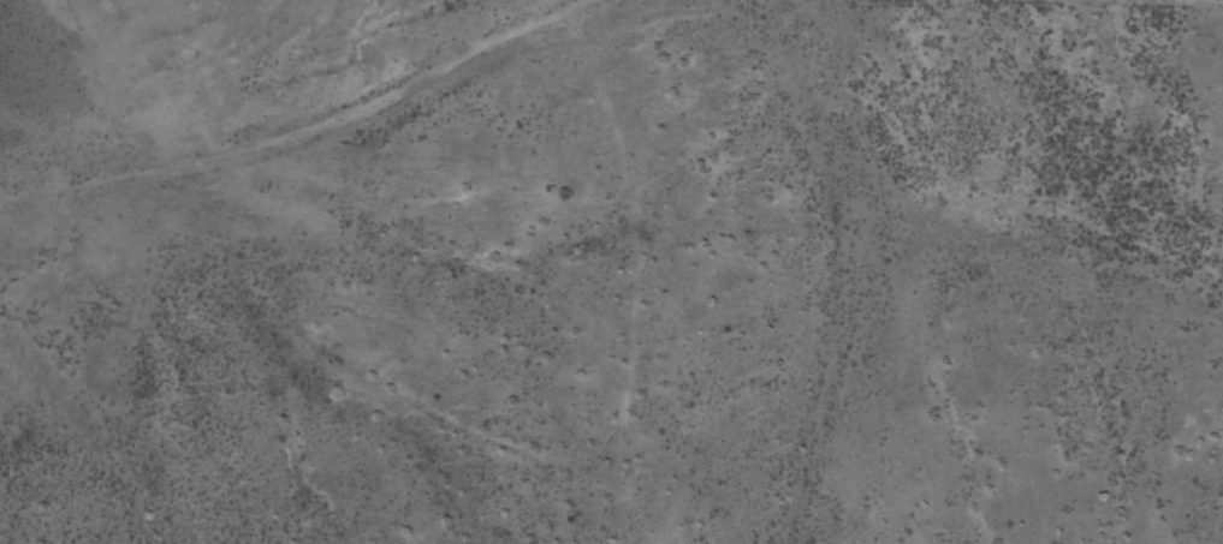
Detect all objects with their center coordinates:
road: (599, 49)
road: (586, 294)

